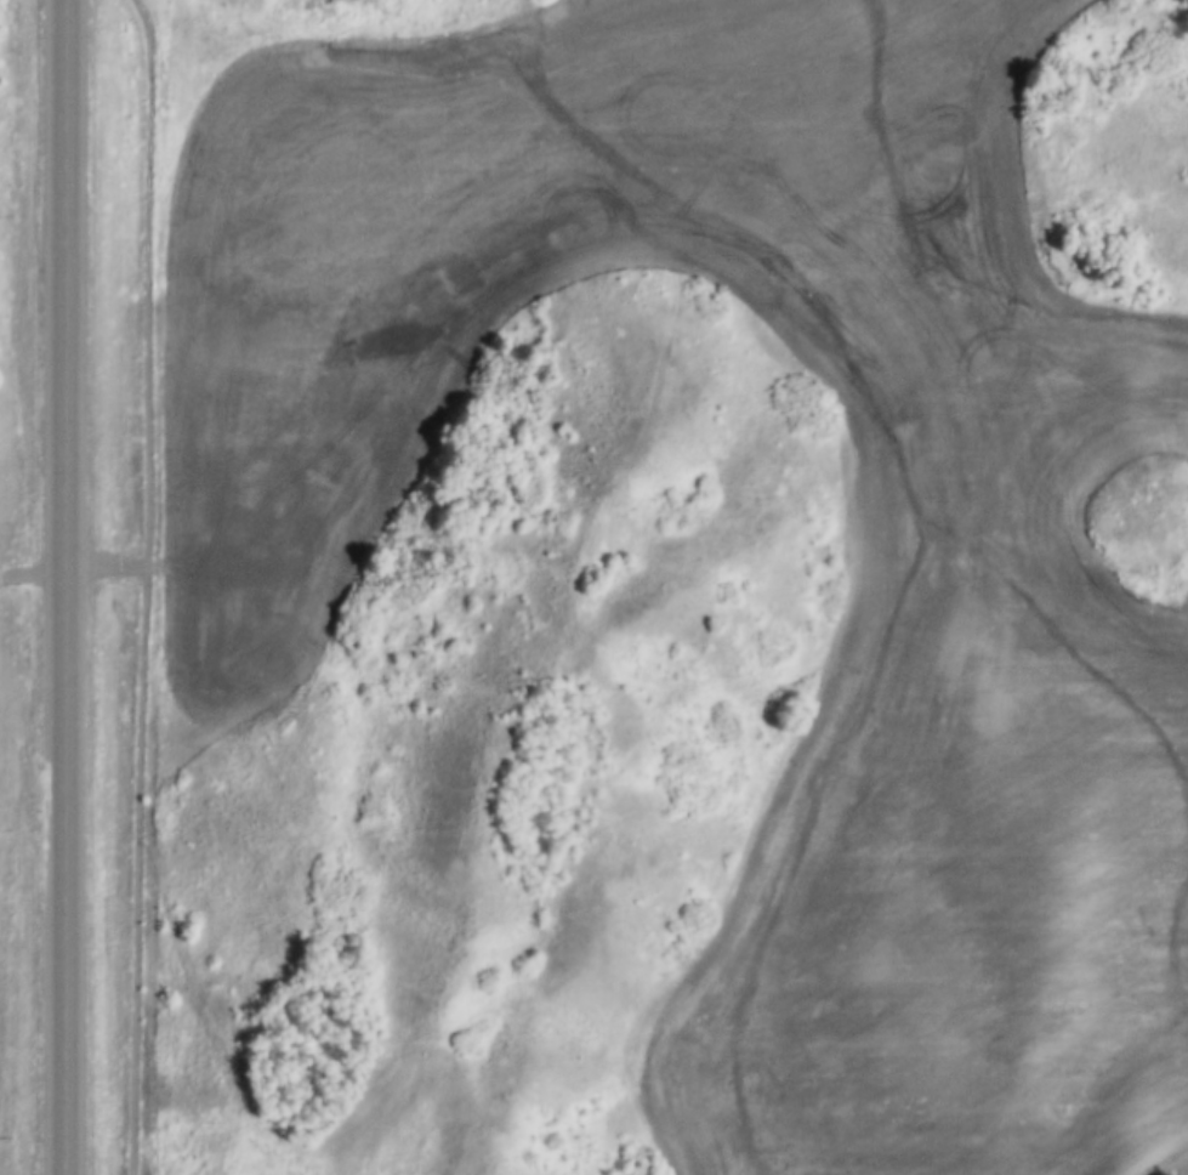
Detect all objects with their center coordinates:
road: (102, 564)
road: (140, 585)
road: (62, 587)
road: (507, 742)

